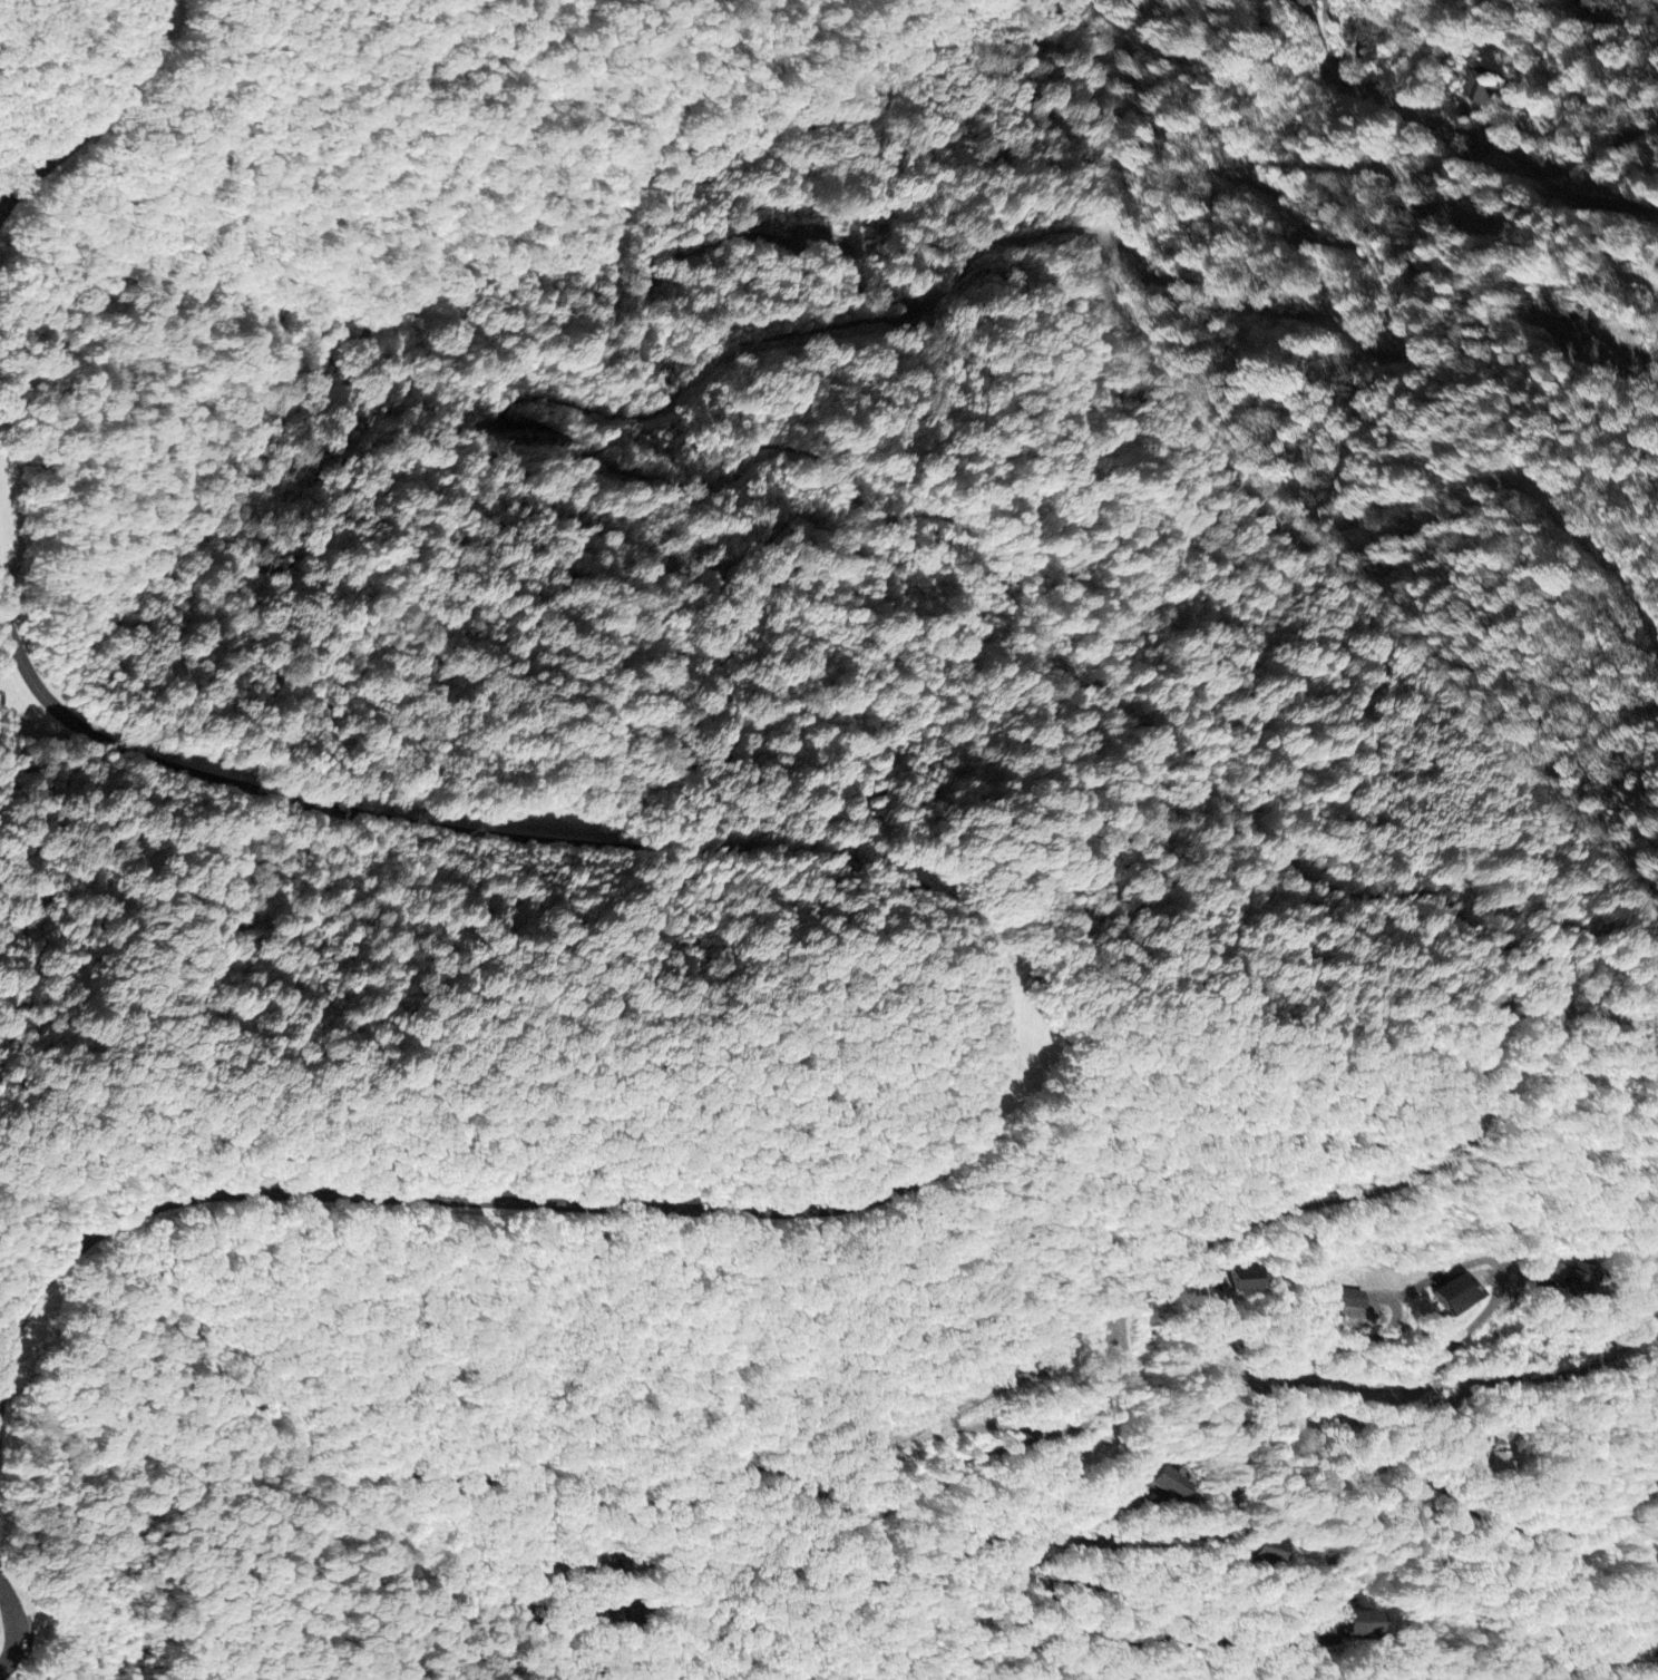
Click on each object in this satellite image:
building: (1307, 3)
road: (100, 119)
road: (1472, 131)
road: (1012, 1045)
building: (1570, 1279)
building: (1245, 1282)
building: (1454, 1296)
building: (1350, 1300)
road: (1325, 1357)
road: (1105, 1377)
building: (1168, 1484)
road: (1447, 1496)
road: (891, 1514)
building: (1265, 1551)
building: (1345, 1624)
road: (17, 1627)
road: (29, 1627)
road: (6, 1628)
parking lot: (13, 1630)

